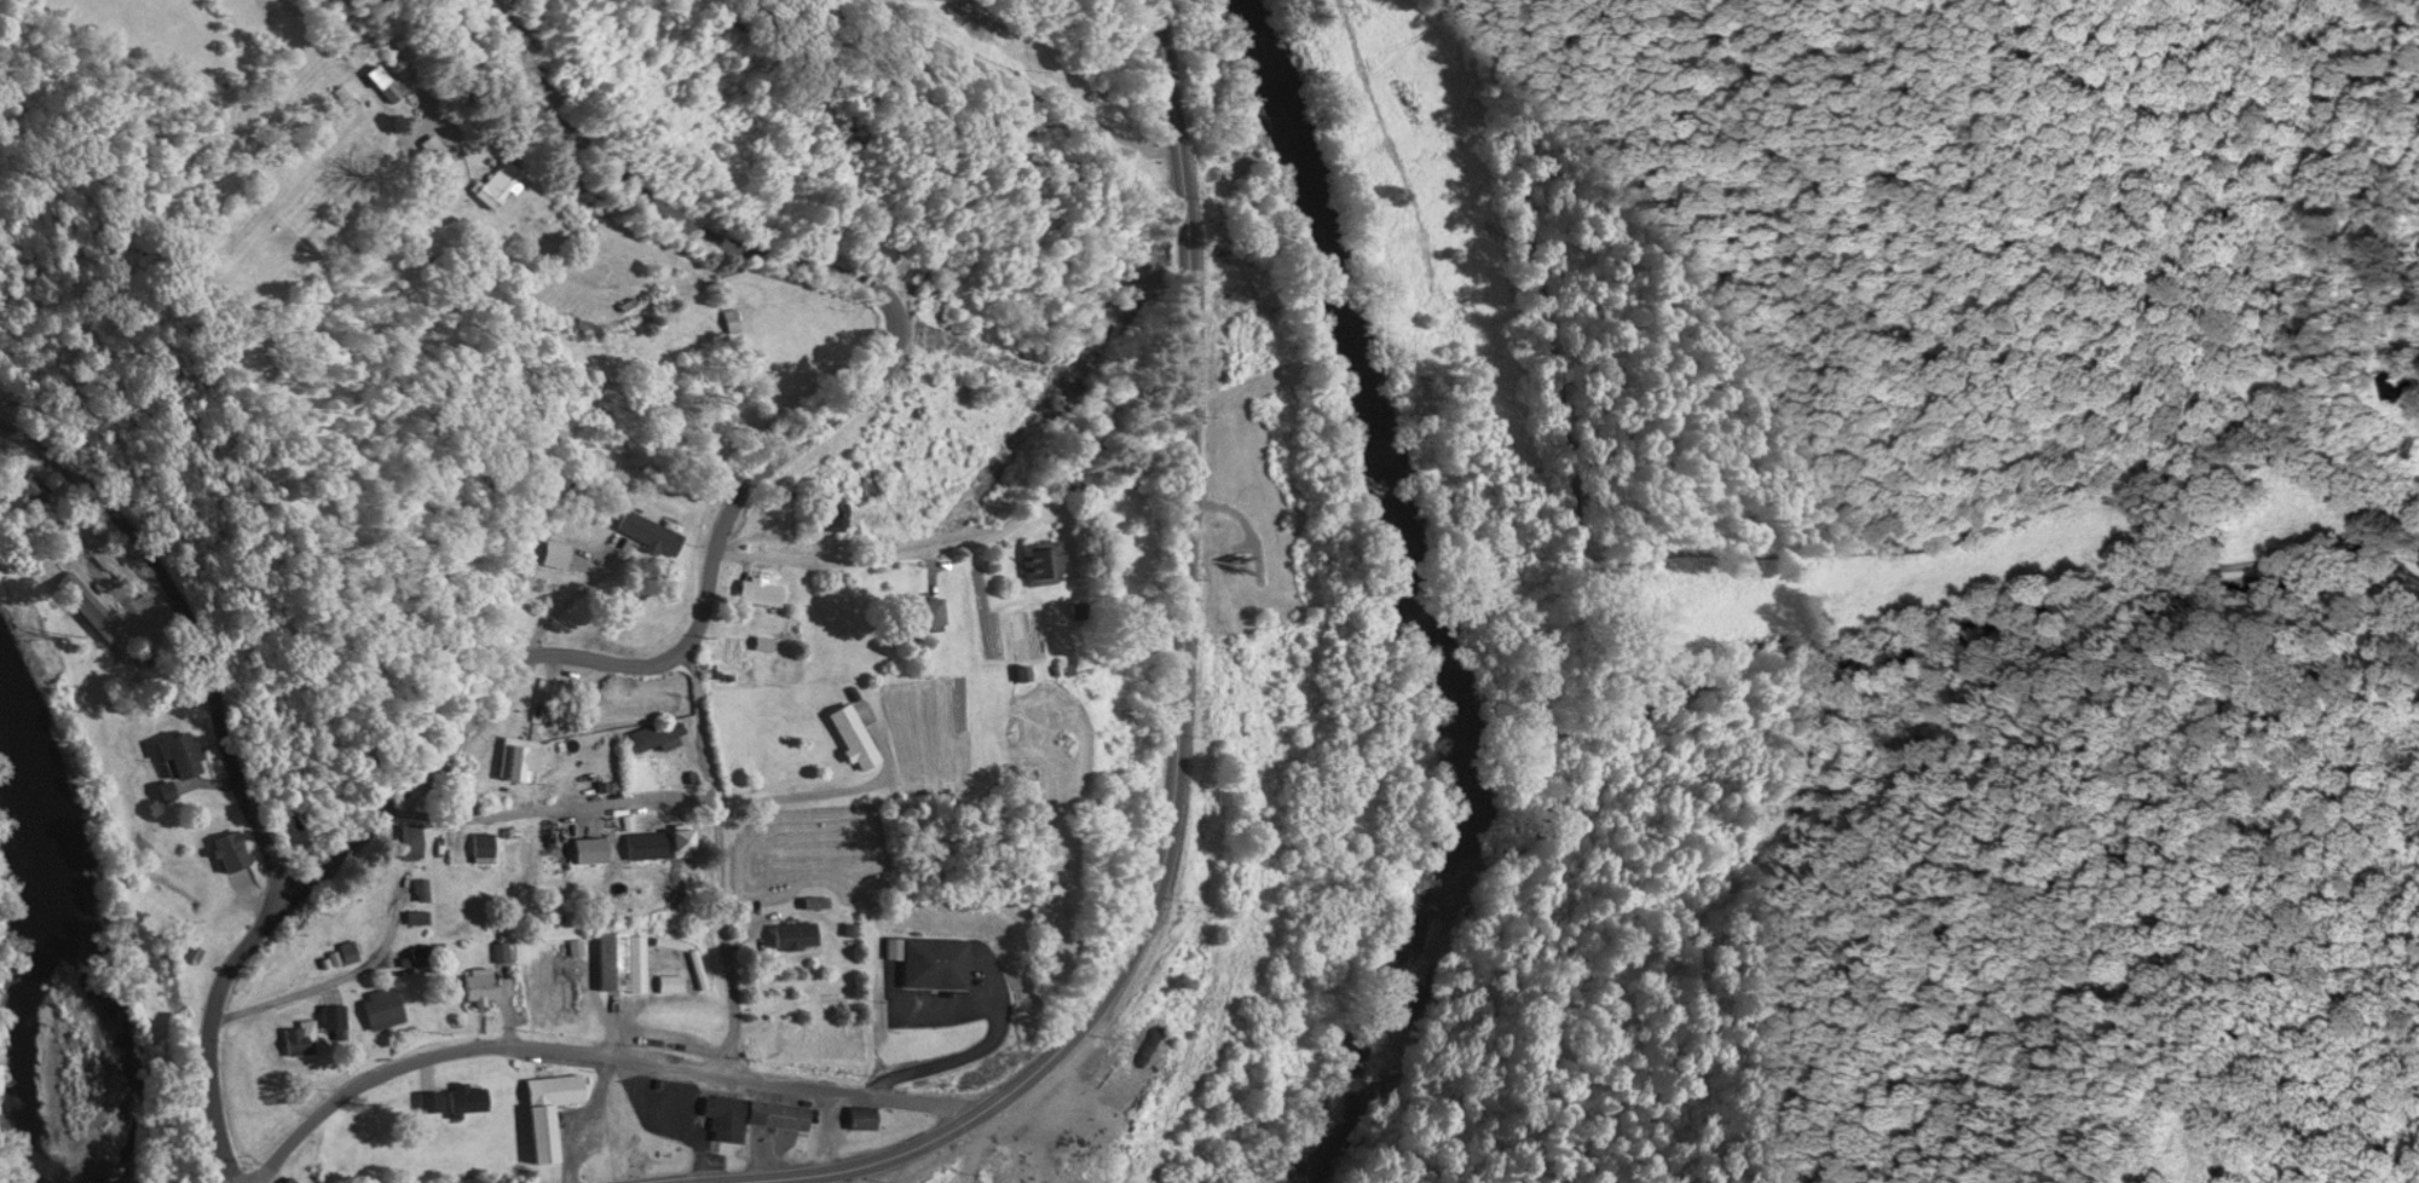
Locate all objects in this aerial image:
building: (387, 86)
road: (1009, 94)
building: (343, 100)
building: (431, 146)
building: (498, 187)
road: (1182, 225)
building: (890, 262)
building: (732, 323)
building: (2400, 388)
road: (797, 439)
building: (35, 490)
building: (866, 491)
building: (833, 514)
building: (650, 536)
road: (1676, 542)
road: (879, 559)
building: (1043, 566)
building: (761, 594)
river: (1404, 607)
building: (88, 610)
building: (929, 614)
road: (183, 641)
building: (654, 739)
building: (853, 740)
building: (181, 757)
building: (521, 764)
building: (1028, 778)
road: (819, 792)
building: (217, 823)
building: (410, 843)
building: (682, 847)
building: (647, 849)
building: (231, 856)
road: (716, 864)
road: (1151, 906)
building: (417, 919)
building: (795, 940)
river: (31, 941)
building: (622, 965)
building: (935, 966)
building: (669, 987)
building: (480, 988)
road: (290, 996)
building: (382, 1011)
building: (334, 1026)
road: (209, 1027)
building: (301, 1041)
road: (596, 1063)
building: (426, 1102)
building: (379, 1109)
building: (549, 1115)
building: (751, 1119)
building: (862, 1120)

